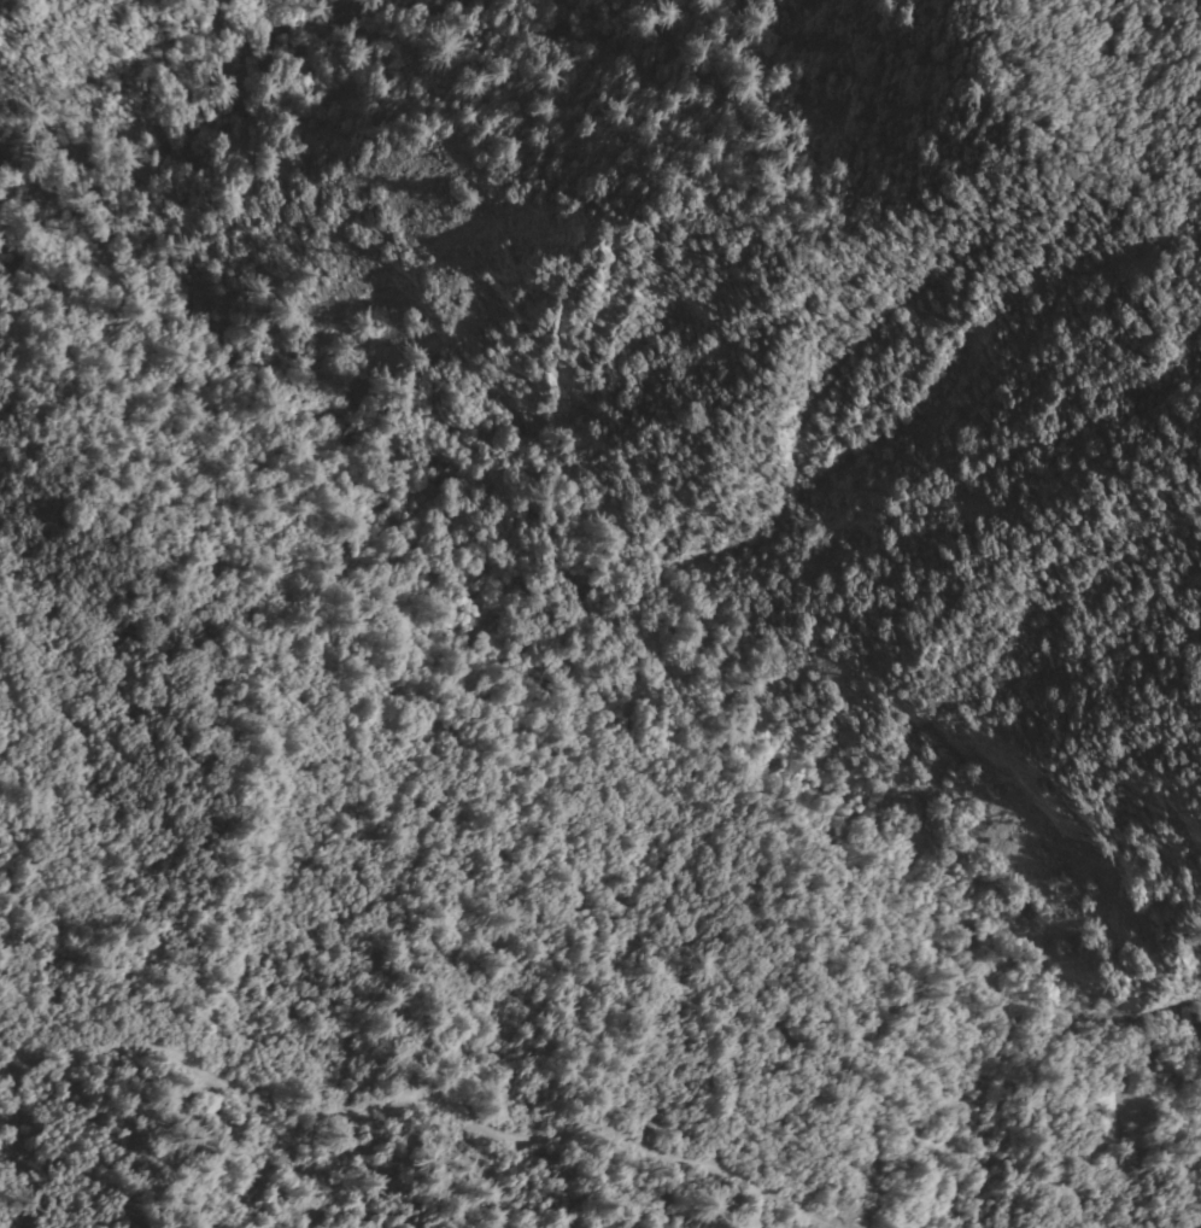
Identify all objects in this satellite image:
road: (1167, 263)
road: (421, 1099)

